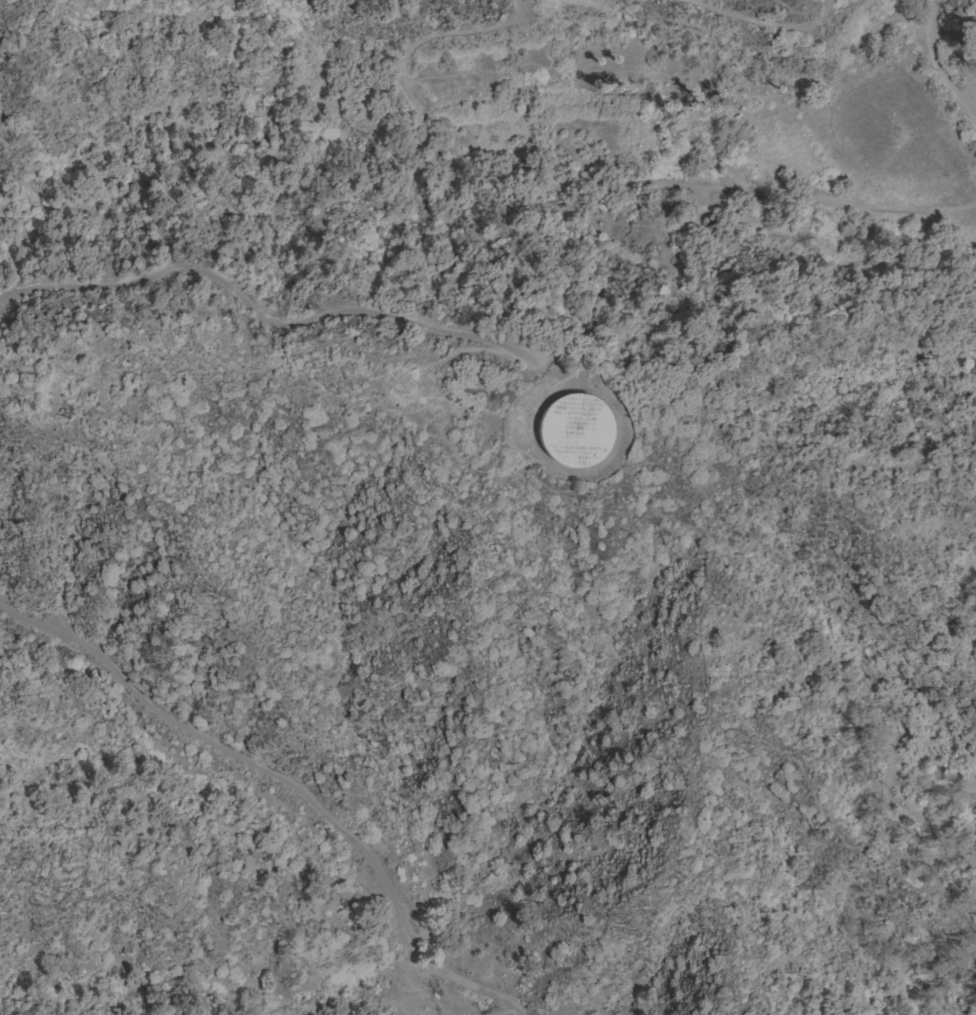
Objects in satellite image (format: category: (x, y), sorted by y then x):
road: (8, 3)
road: (764, 19)
road: (940, 63)
road: (352, 79)
road: (975, 114)
road: (577, 183)
road: (266, 322)
building: (573, 429)
storage tank: (573, 429)
road: (288, 786)

